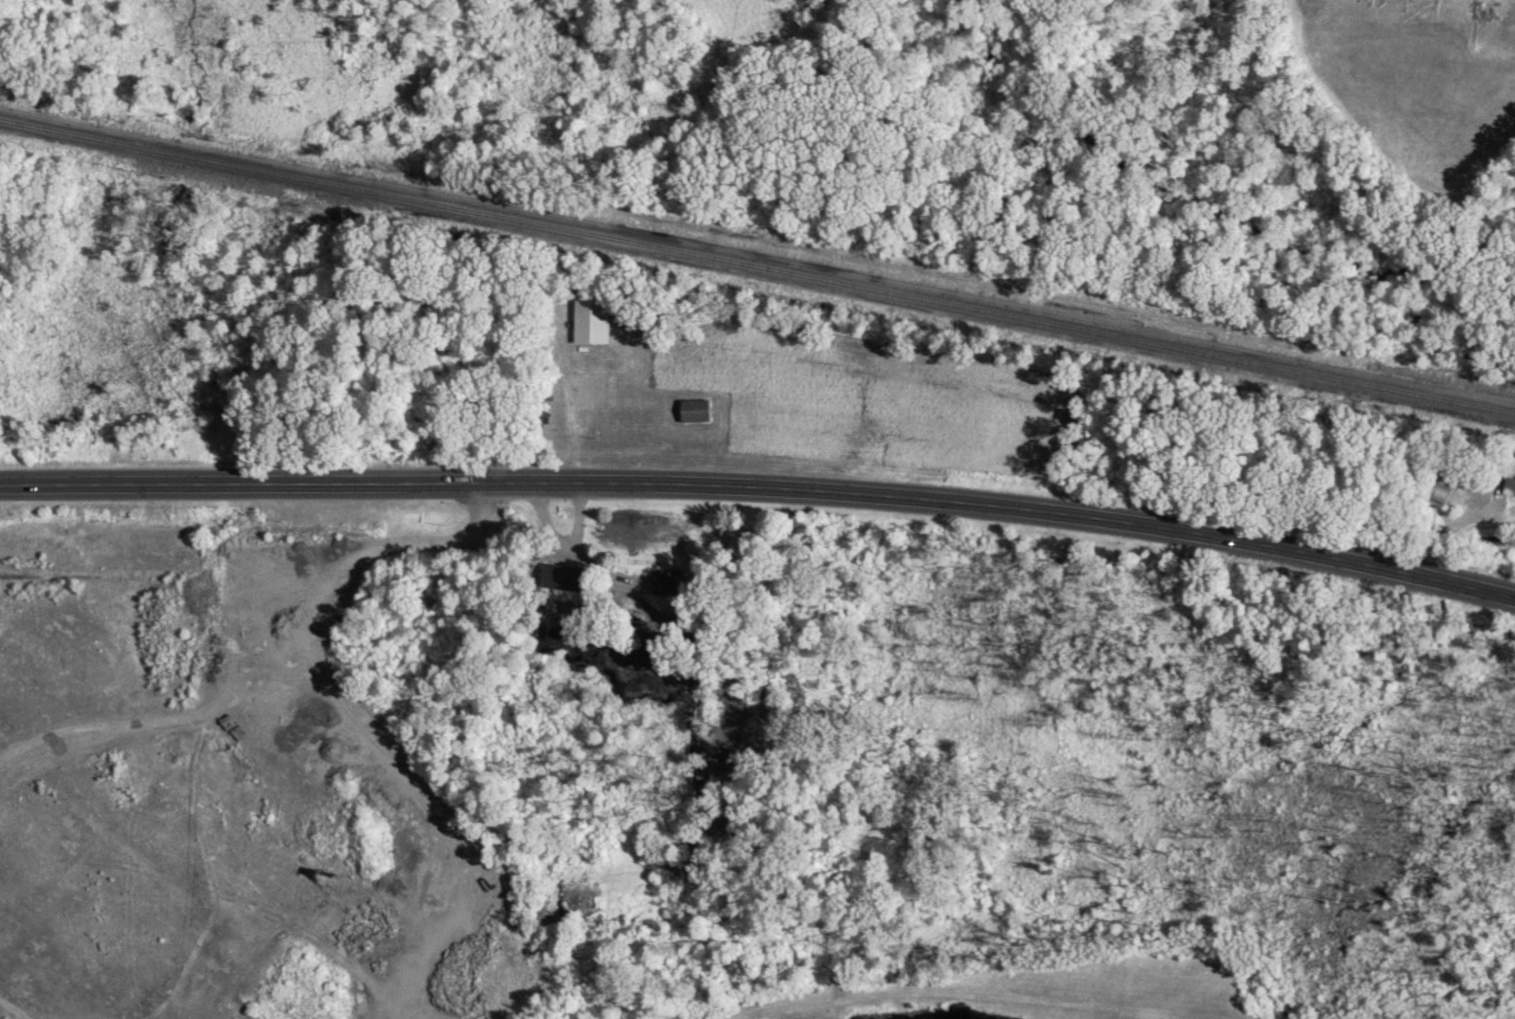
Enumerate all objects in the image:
river: (1241, 225)
railway: (757, 263)
building: (589, 318)
building: (693, 409)
road: (761, 485)
building: (1509, 486)
road: (581, 518)
road: (572, 552)
building: (564, 577)
building: (667, 581)
building: (569, 905)

